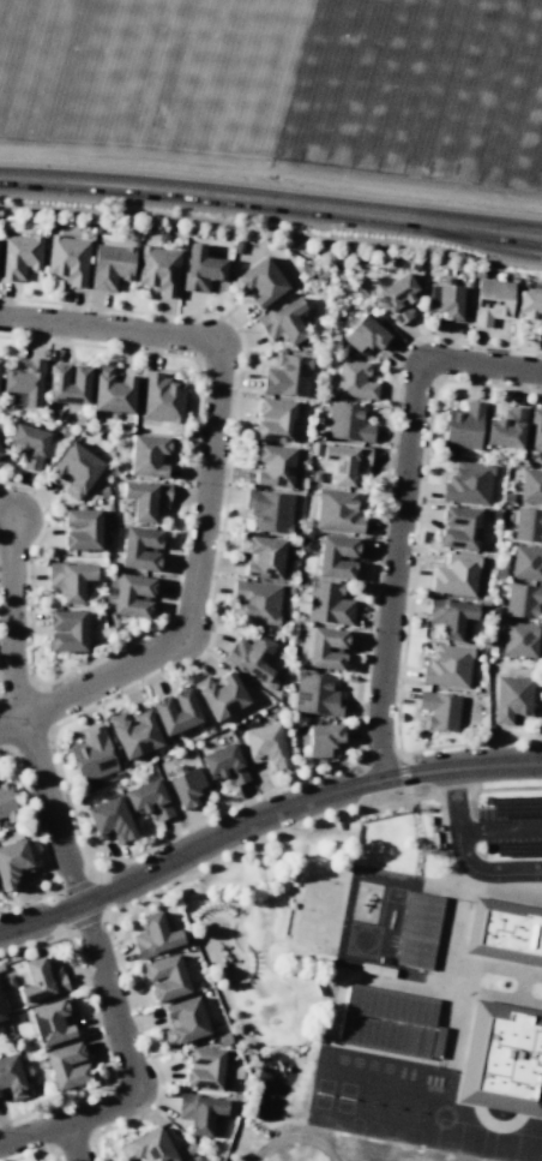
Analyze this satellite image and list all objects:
crop: (284, 86)
road: (271, 204)
building: (18, 256)
building: (67, 259)
building: (110, 265)
building: (200, 268)
building: (158, 269)
building: (260, 282)
building: (398, 297)
building: (445, 299)
building: (492, 301)
building: (530, 309)
building: (283, 322)
building: (363, 335)
building: (287, 376)
building: (24, 381)
building: (354, 381)
road: (216, 382)
building: (66, 383)
building: (112, 391)
building: (161, 399)
building: (277, 420)
building: (347, 423)
building: (463, 425)
building: (506, 429)
building: (535, 431)
building: (28, 445)
building: (147, 455)
building: (1, 459)
building: (342, 462)
building: (271, 465)
building: (468, 483)
building: (530, 486)
building: (145, 499)
building: (269, 510)
building: (337, 511)
road: (408, 513)
building: (528, 525)
building: (458, 528)
building: (80, 529)
building: (139, 549)
building: (261, 556)
building: (336, 557)
building: (526, 563)
building: (454, 575)
building: (68, 579)
building: (132, 596)
building: (522, 602)
building: (257, 603)
building: (327, 604)
building: (448, 616)
road: (10, 622)
building: (66, 630)
building: (519, 639)
building: (321, 647)
building: (251, 656)
building: (446, 666)
road: (91, 684)
building: (219, 694)
building: (315, 694)
building: (511, 698)
building: (175, 711)
building: (439, 711)
building: (133, 734)
building: (321, 740)
building: (264, 746)
building: (92, 756)
building: (223, 765)
building: (186, 785)
building: (146, 800)
building: (6, 803)
road: (53, 812)
road: (261, 818)
building: (109, 820)
road: (500, 831)
road: (465, 852)
building: (13, 862)
road: (259, 874)
road: (300, 881)
park: (319, 911)
road: (215, 914)
road: (341, 916)
building: (418, 930)
building: (505, 932)
park: (273, 933)
building: (153, 935)
road: (279, 939)
road: (239, 973)
building: (164, 977)
building: (40, 981)
road: (299, 991)
building: (391, 1005)
building: (1, 1013)
building: (52, 1021)
building: (182, 1021)
building: (385, 1035)
building: (502, 1059)
building: (66, 1065)
building: (203, 1067)
road: (137, 1071)
building: (11, 1078)
road: (287, 1093)
building: (199, 1112)
road: (290, 1120)
road: (74, 1145)
building: (149, 1147)
building: (205, 1160)

